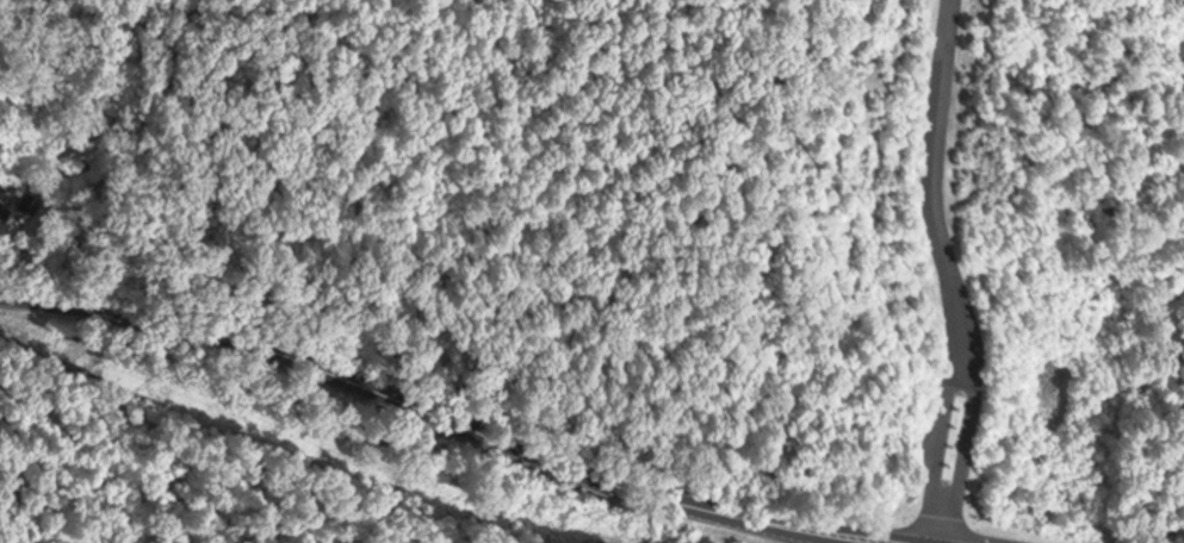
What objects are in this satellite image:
road: (944, 271)
road: (440, 429)

